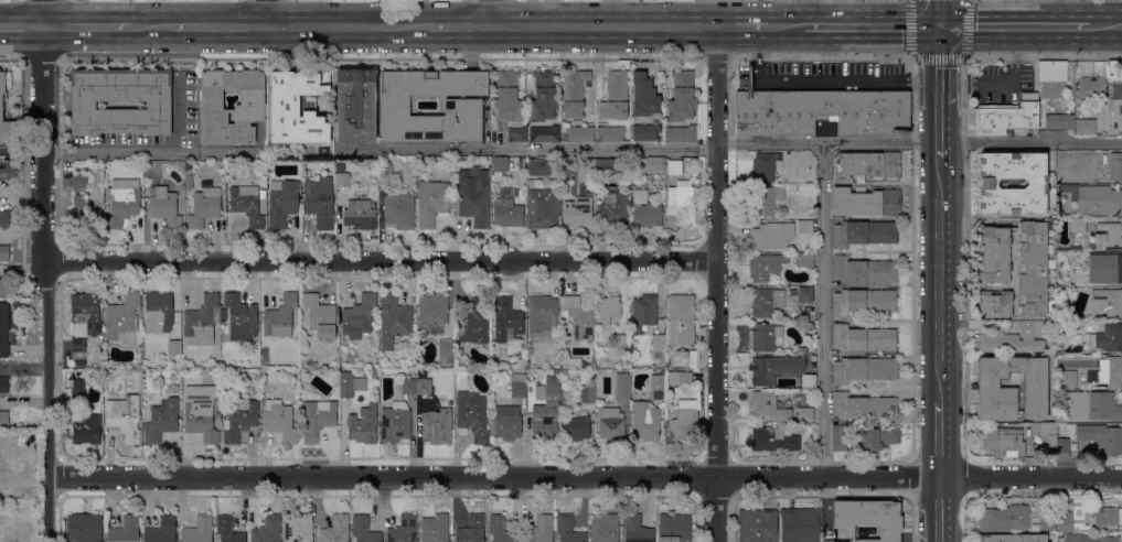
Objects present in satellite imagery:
road: (939, 12)
road: (264, 13)
road: (836, 13)
road: (1065, 13)
road: (493, 14)
traffic signals: (939, 25)
road: (1013, 25)
road: (216, 26)
road: (872, 26)
road: (1104, 26)
road: (20, 28)
road: (85, 28)
road: (149, 28)
road: (345, 28)
road: (741, 28)
road: (786, 28)
road: (460, 29)
road: (605, 29)
road: (937, 57)
building: (1051, 78)
building: (1115, 79)
road: (885, 83)
building: (1090, 88)
building: (573, 93)
road: (938, 93)
building: (615, 96)
building: (507, 97)
building: (543, 97)
building: (644, 97)
building: (681, 97)
building: (83, 105)
building: (307, 105)
building: (355, 106)
building: (248, 107)
building: (463, 107)
building: (296, 108)
building: (822, 112)
building: (1005, 120)
building: (7, 121)
building: (1059, 122)
building: (1083, 127)
building: (645, 132)
building: (579, 133)
building: (516, 134)
building: (544, 134)
building: (681, 134)
building: (611, 135)
road: (919, 144)
road: (380, 150)
building: (260, 158)
building: (521, 163)
building: (654, 165)
building: (774, 165)
building: (866, 165)
building: (1116, 165)
building: (567, 166)
building: (538, 167)
building: (605, 167)
building: (672, 167)
building: (385, 169)
building: (499, 169)
building: (587, 170)
building: (7, 171)
building: (342, 180)
building: (79, 182)
building: (189, 183)
building: (1035, 185)
building: (261, 194)
building: (473, 196)
building: (767, 199)
building: (1094, 199)
building: (319, 202)
building: (264, 203)
building: (281, 203)
building: (431, 203)
building: (866, 203)
building: (246, 204)
building: (121, 205)
building: (680, 205)
building: (163, 206)
building: (204, 207)
building: (399, 208)
building: (542, 209)
building: (612, 209)
building: (644, 210)
building: (577, 212)
building: (506, 213)
building: (84, 214)
building: (359, 215)
building: (3, 219)
building: (1078, 225)
building: (779, 234)
building: (863, 234)
building: (1105, 238)
building: (1070, 249)
building: (4, 253)
building: (994, 256)
road: (378, 261)
building: (804, 261)
building: (765, 267)
building: (1113, 269)
building: (864, 270)
building: (1032, 270)
road: (43, 271)
road: (938, 283)
road: (716, 284)
building: (4, 288)
building: (792, 293)
building: (804, 295)
building: (863, 302)
building: (767, 303)
building: (1105, 303)
building: (994, 304)
building: (608, 308)
road: (824, 310)
building: (431, 312)
building: (643, 312)
building: (158, 313)
building: (320, 315)
building: (541, 315)
building: (359, 316)
building: (279, 317)
building: (122, 318)
building: (241, 318)
building: (506, 318)
building: (578, 318)
building: (83, 321)
building: (202, 321)
building: (393, 321)
building: (680, 321)
building: (475, 322)
building: (808, 325)
building: (3, 330)
building: (765, 337)
building: (863, 338)
building: (1107, 338)
building: (1014, 339)
building: (620, 342)
building: (658, 342)
building: (174, 349)
building: (803, 350)
building: (445, 353)
building: (264, 356)
building: (350, 359)
building: (693, 359)
building: (215, 364)
building: (586, 364)
building: (564, 365)
building: (773, 369)
building: (863, 370)
building: (555, 372)
building: (375, 373)
building: (566, 373)
building: (1097, 373)
building: (684, 379)
building: (808, 381)
building: (222, 382)
building: (3, 384)
building: (351, 384)
building: (423, 386)
building: (517, 386)
building: (408, 387)
building: (622, 388)
building: (1011, 389)
building: (656, 390)
building: (812, 392)
building: (77, 397)
building: (137, 400)
building: (587, 406)
building: (769, 406)
building: (1091, 406)
building: (863, 408)
building: (546, 411)
building: (200, 412)
building: (804, 414)
building: (472, 416)
building: (3, 419)
building: (317, 419)
building: (121, 420)
building: (238, 420)
building: (161, 421)
building: (279, 421)
building: (217, 423)
building: (395, 423)
building: (506, 423)
building: (684, 423)
building: (611, 424)
building: (363, 425)
building: (438, 425)
building: (647, 426)
building: (85, 429)
building: (1045, 433)
building: (838, 437)
building: (879, 437)
building: (1101, 438)
building: (773, 440)
road: (939, 442)
building: (1003, 442)
building: (1061, 446)
road: (585, 476)
road: (939, 510)
building: (1104, 517)
building: (868, 518)
building: (1006, 519)
building: (1065, 522)
building: (1047, 523)
building: (757, 525)
building: (799, 525)
building: (84, 528)
building: (674, 528)
building: (299, 529)
building: (435, 529)
building: (568, 529)
building: (605, 529)
building: (125, 530)
building: (161, 530)
building: (197, 530)
building: (227, 530)
building: (267, 530)
building: (335, 530)
building: (364, 530)
building: (403, 530)
building: (471, 530)
building: (500, 530)
building: (539, 530)
building: (637, 530)
building: (1059, 536)
building: (1012, 538)
building: (1089, 538)

